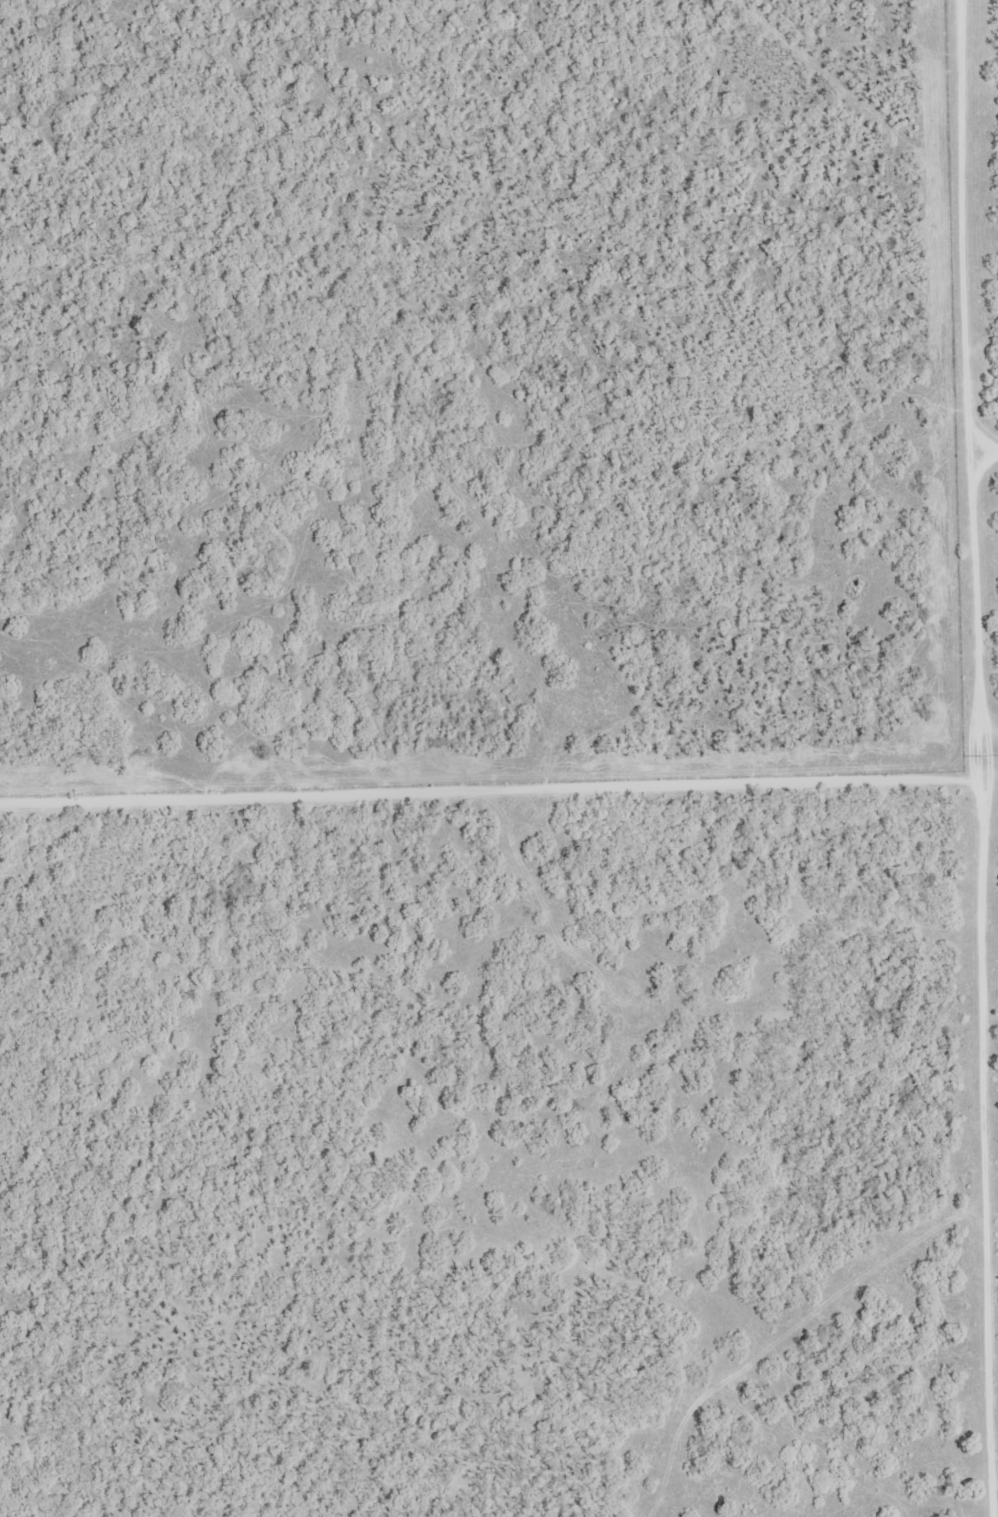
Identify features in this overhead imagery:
road: (995, 105)

